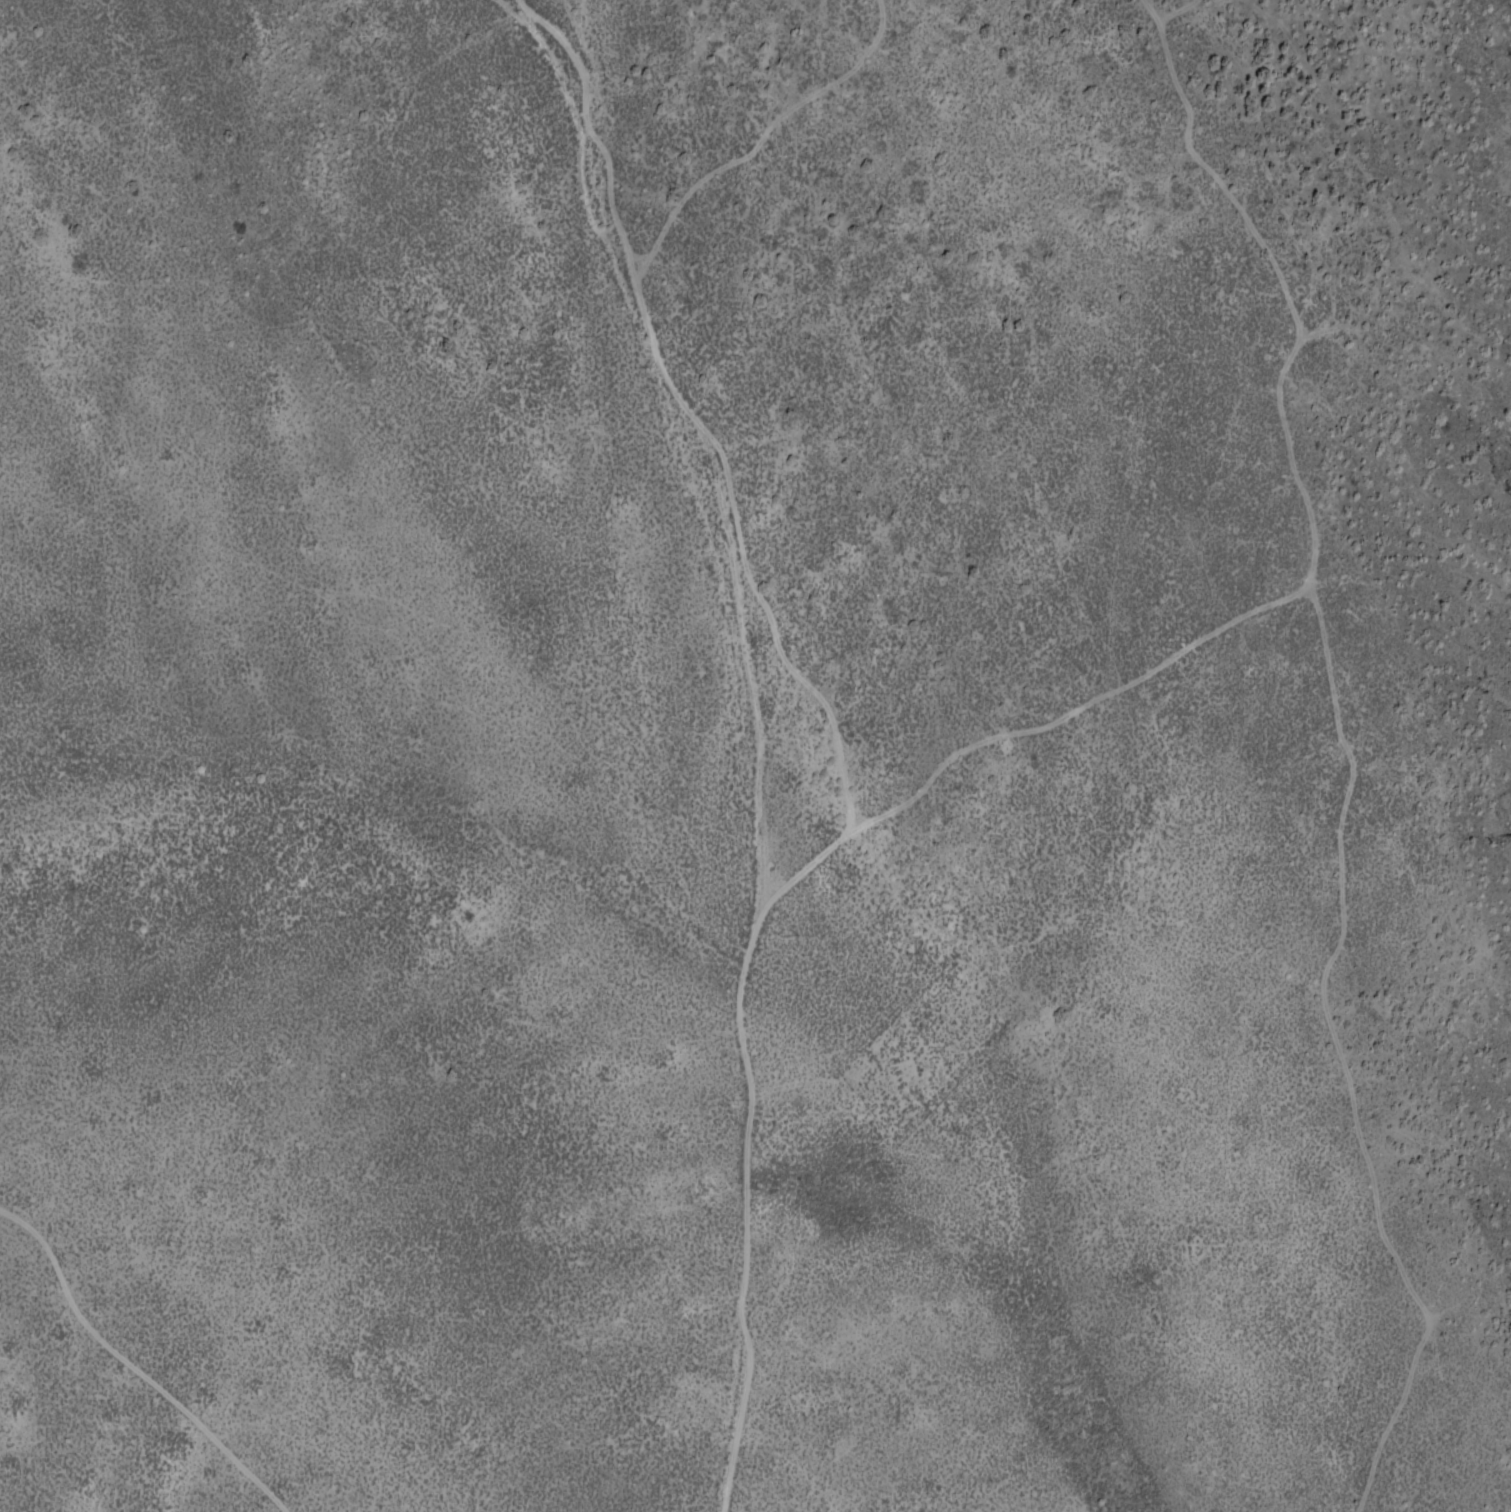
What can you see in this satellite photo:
road: (763, 743)
road: (151, 1330)

